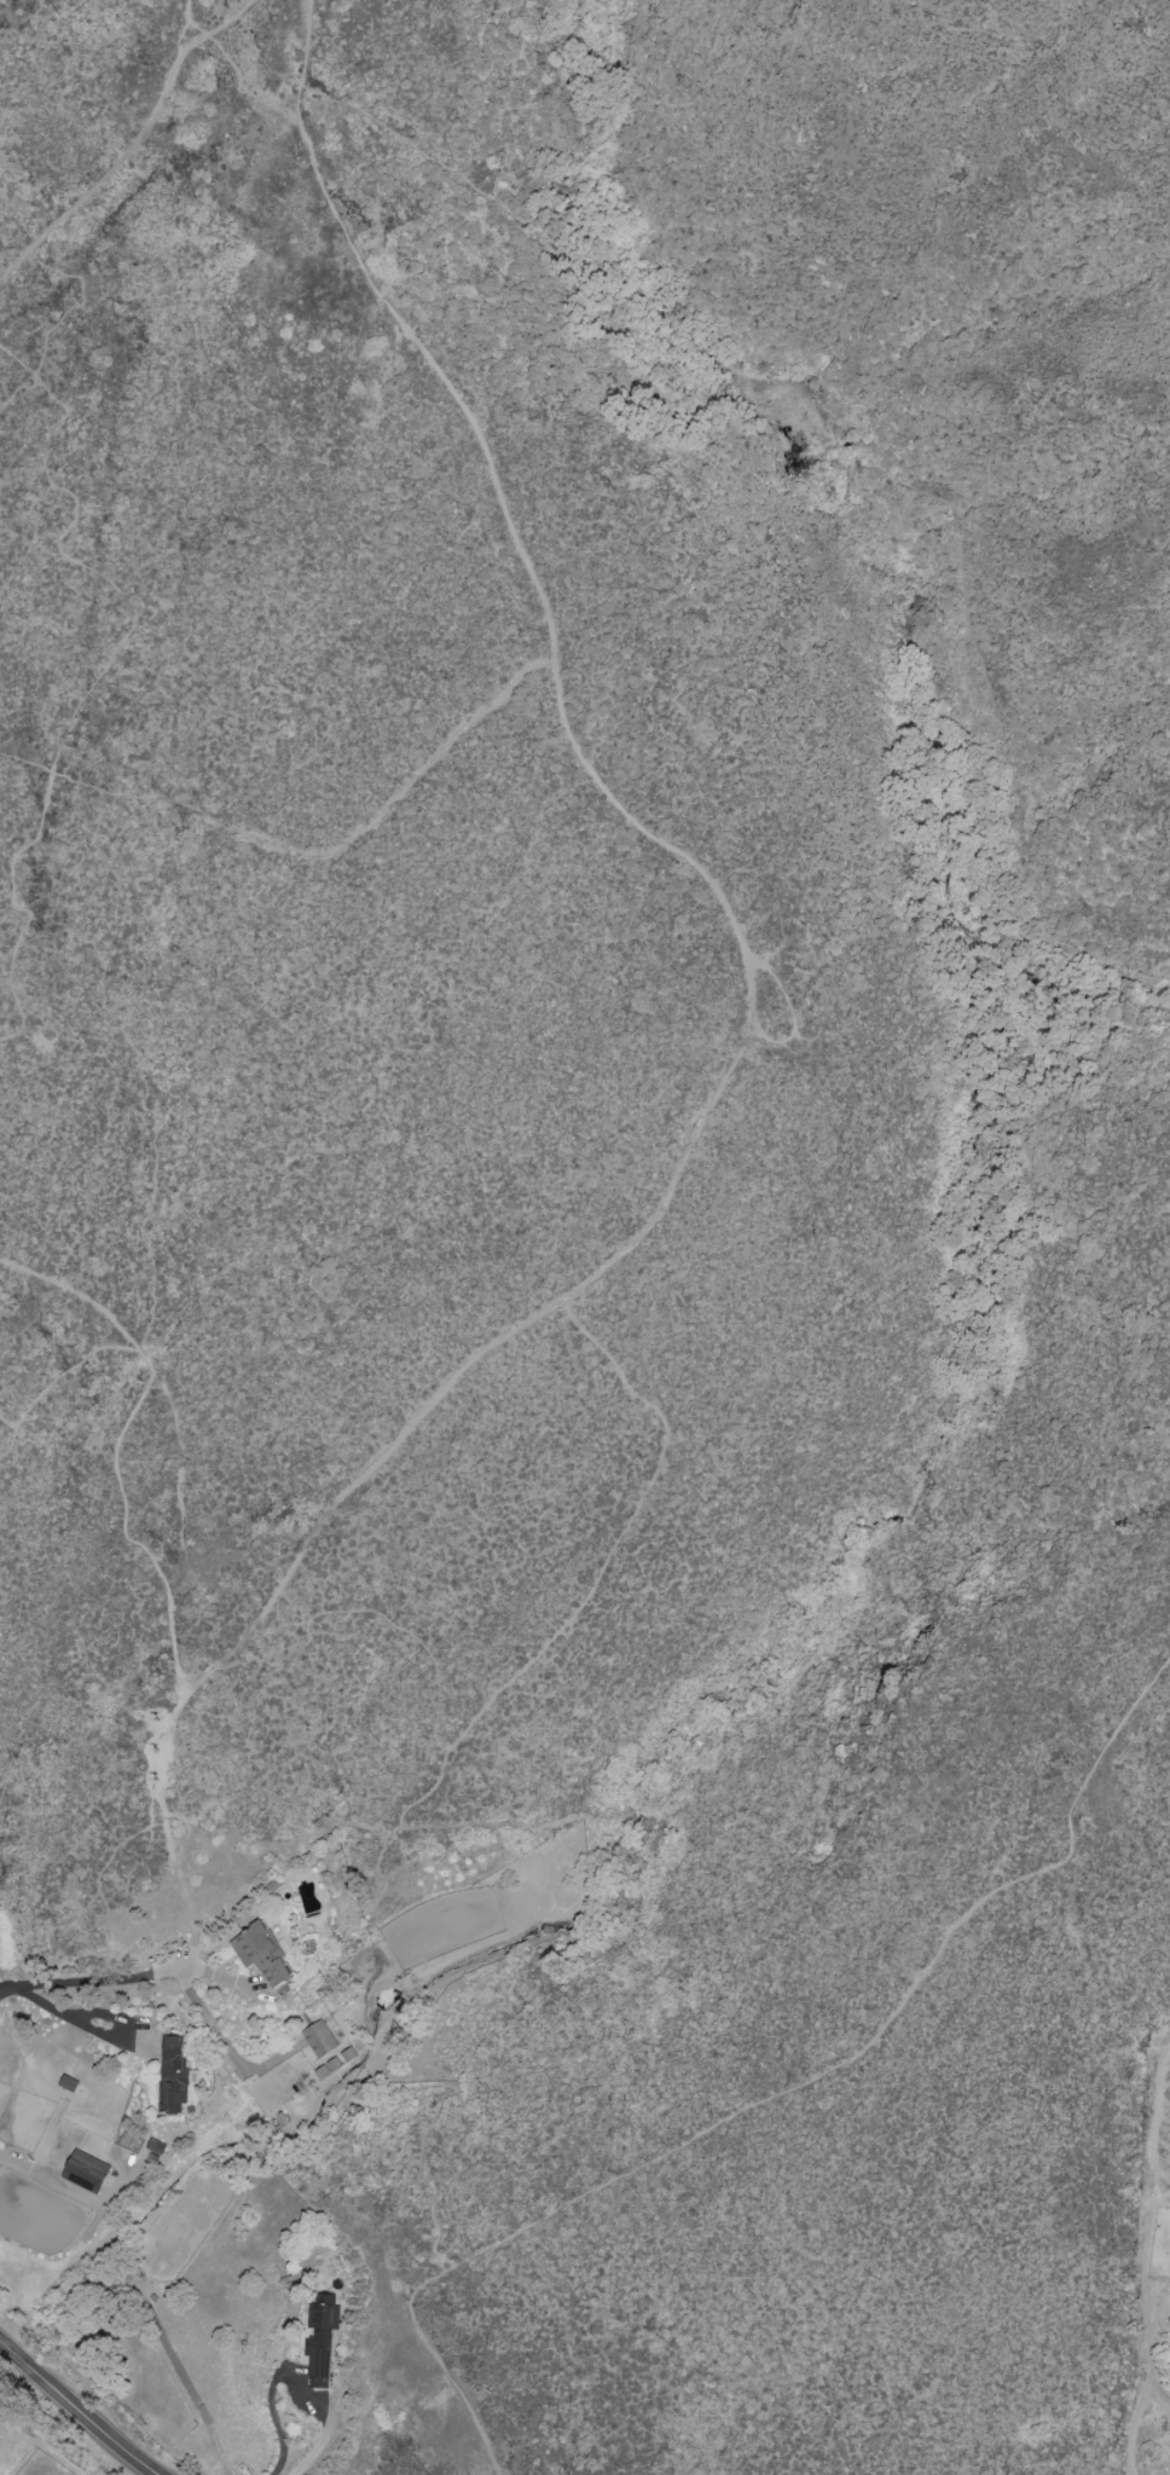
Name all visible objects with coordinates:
road: (187, 19)
road: (244, 87)
road: (137, 141)
road: (58, 318)
road: (757, 352)
road: (512, 526)
road: (102, 669)
road: (307, 854)
road: (790, 1008)
road: (143, 1092)
road: (59, 1375)
road: (428, 1404)
road: (178, 1434)
road: (8, 1442)
road: (121, 1488)
road: (390, 1624)
road: (546, 1646)
building: (261, 1954)
road: (120, 1978)
road: (85, 2022)
road: (220, 2043)
building: (325, 2049)
road: (782, 2093)
road: (1153, 2111)
building: (154, 2149)
road: (421, 2149)
building: (85, 2170)
building: (319, 2336)
road: (290, 2379)
road: (77, 2410)
road: (5, 2425)
road: (5, 2438)

